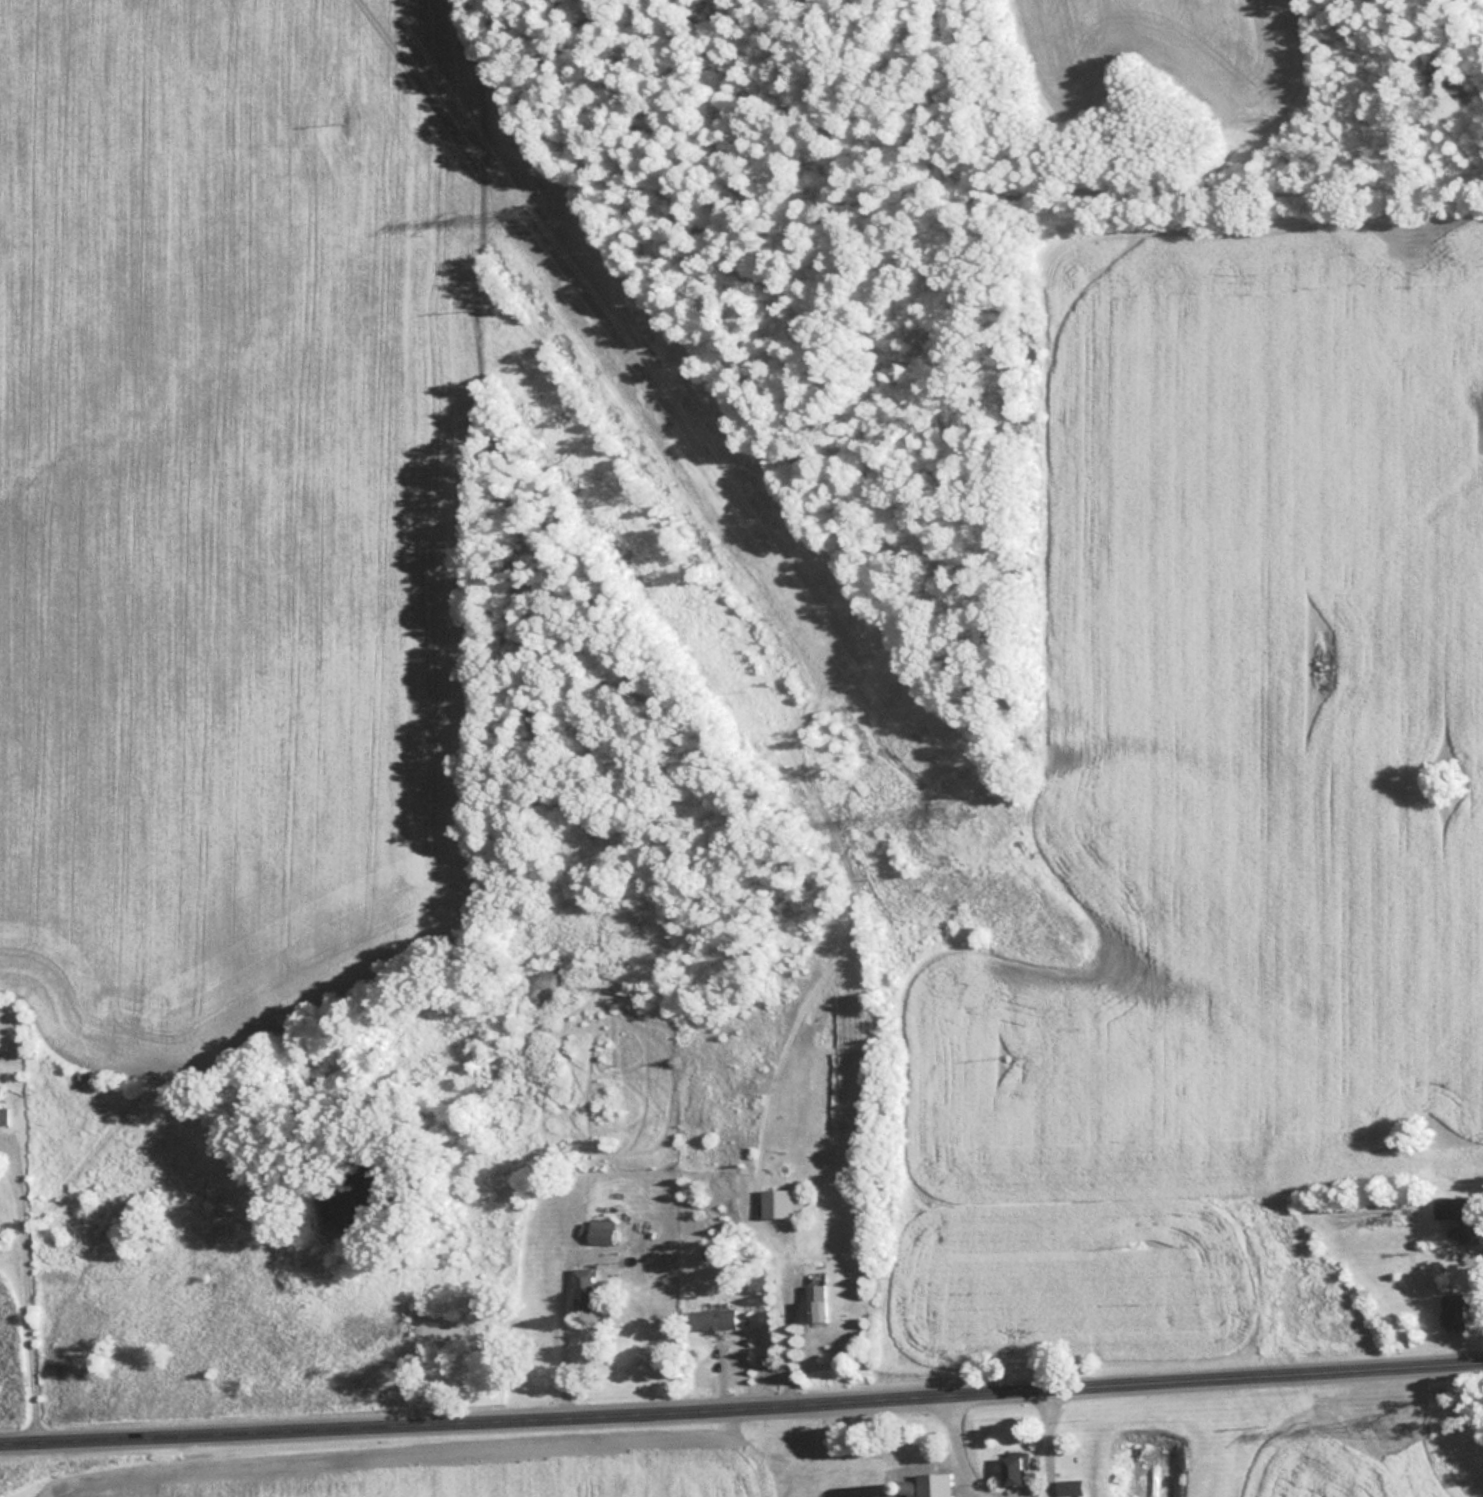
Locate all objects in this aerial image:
power tower: (539, 215)
power tower: (963, 814)
building: (4, 1116)
building: (784, 1205)
building: (1464, 1217)
building: (602, 1233)
road: (19, 1286)
building: (585, 1291)
building: (819, 1306)
building: (1457, 1314)
building: (714, 1322)
road: (741, 1401)
power tower: (1394, 1426)
road: (1046, 1439)
road: (954, 1448)
building: (1019, 1473)
building: (939, 1486)
building: (1072, 1489)

